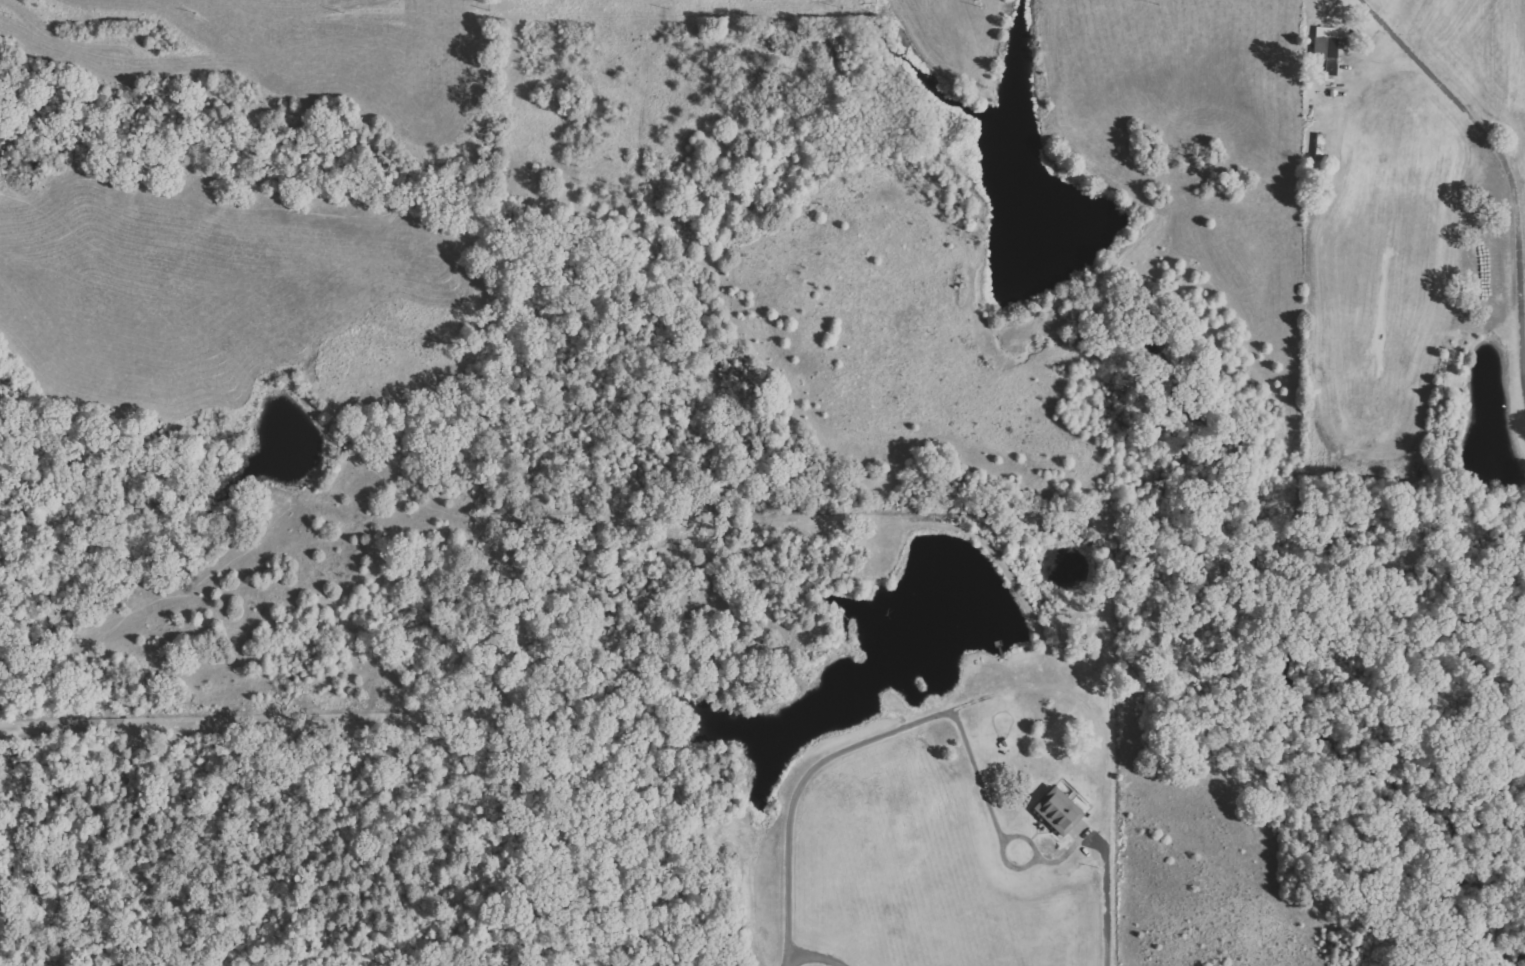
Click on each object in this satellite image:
road: (1503, 146)
building: (1062, 810)

